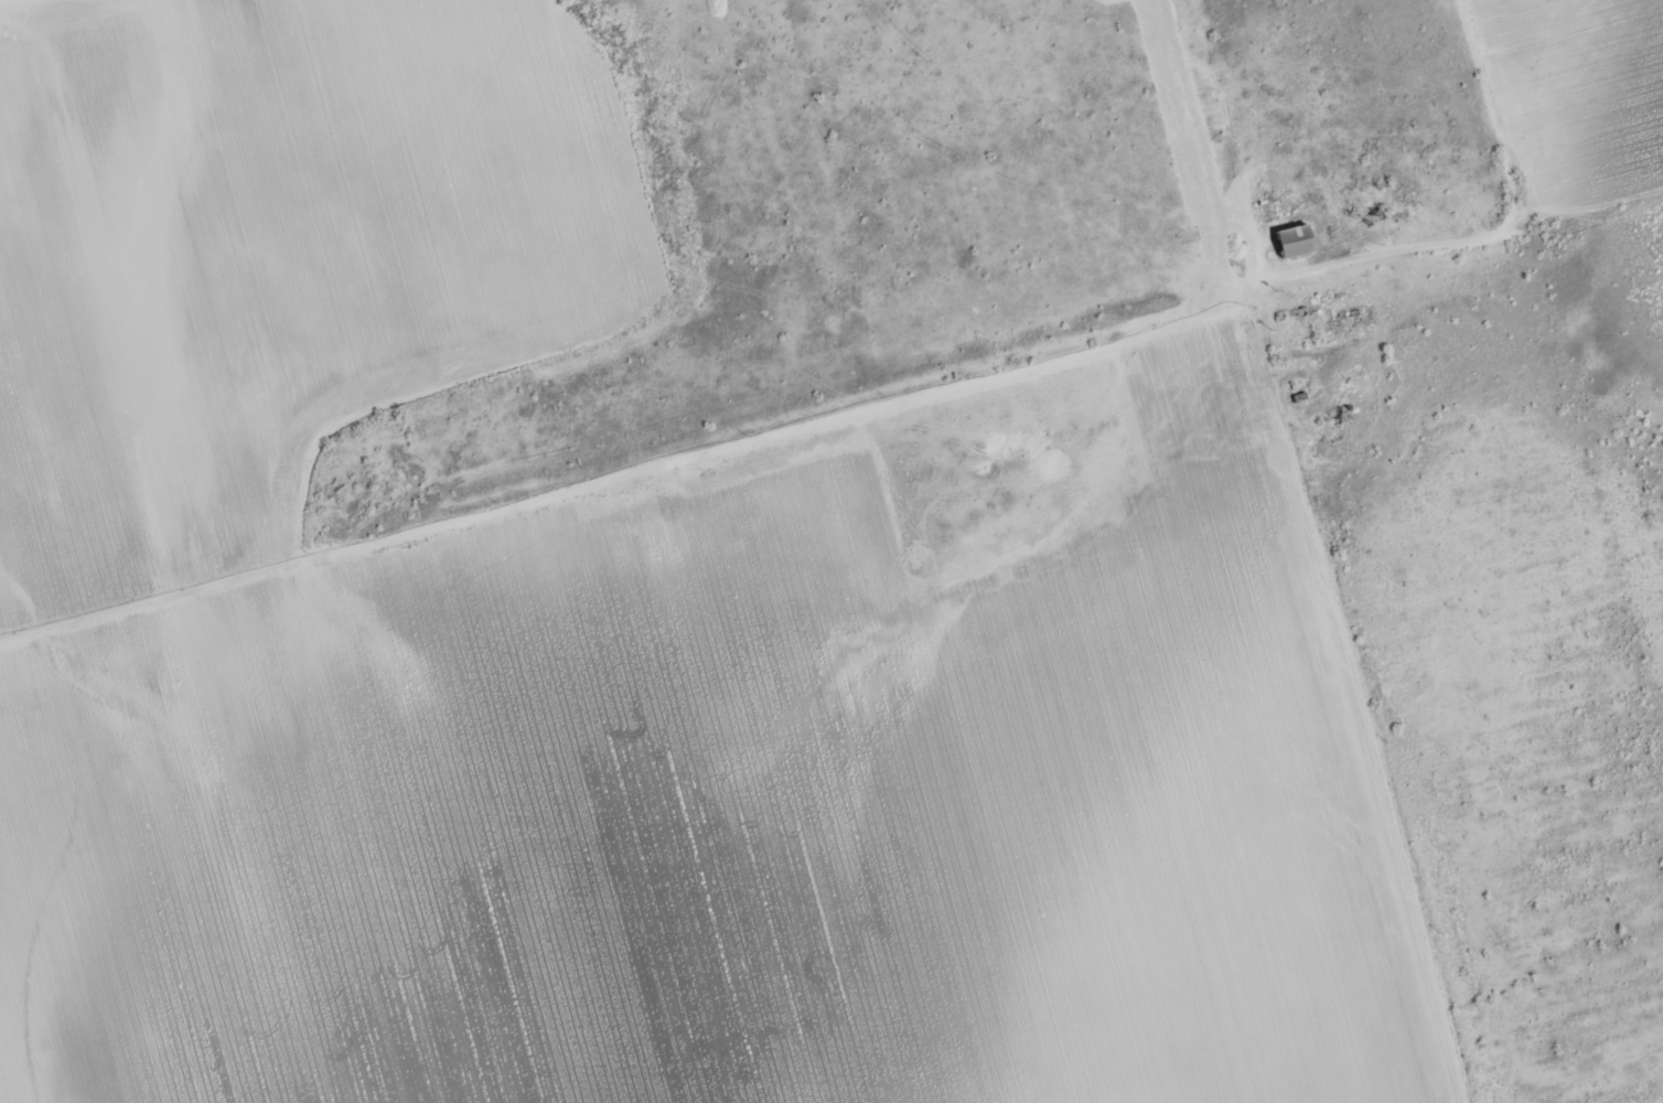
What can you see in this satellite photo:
building: (1269, 212)
building: (1294, 242)

